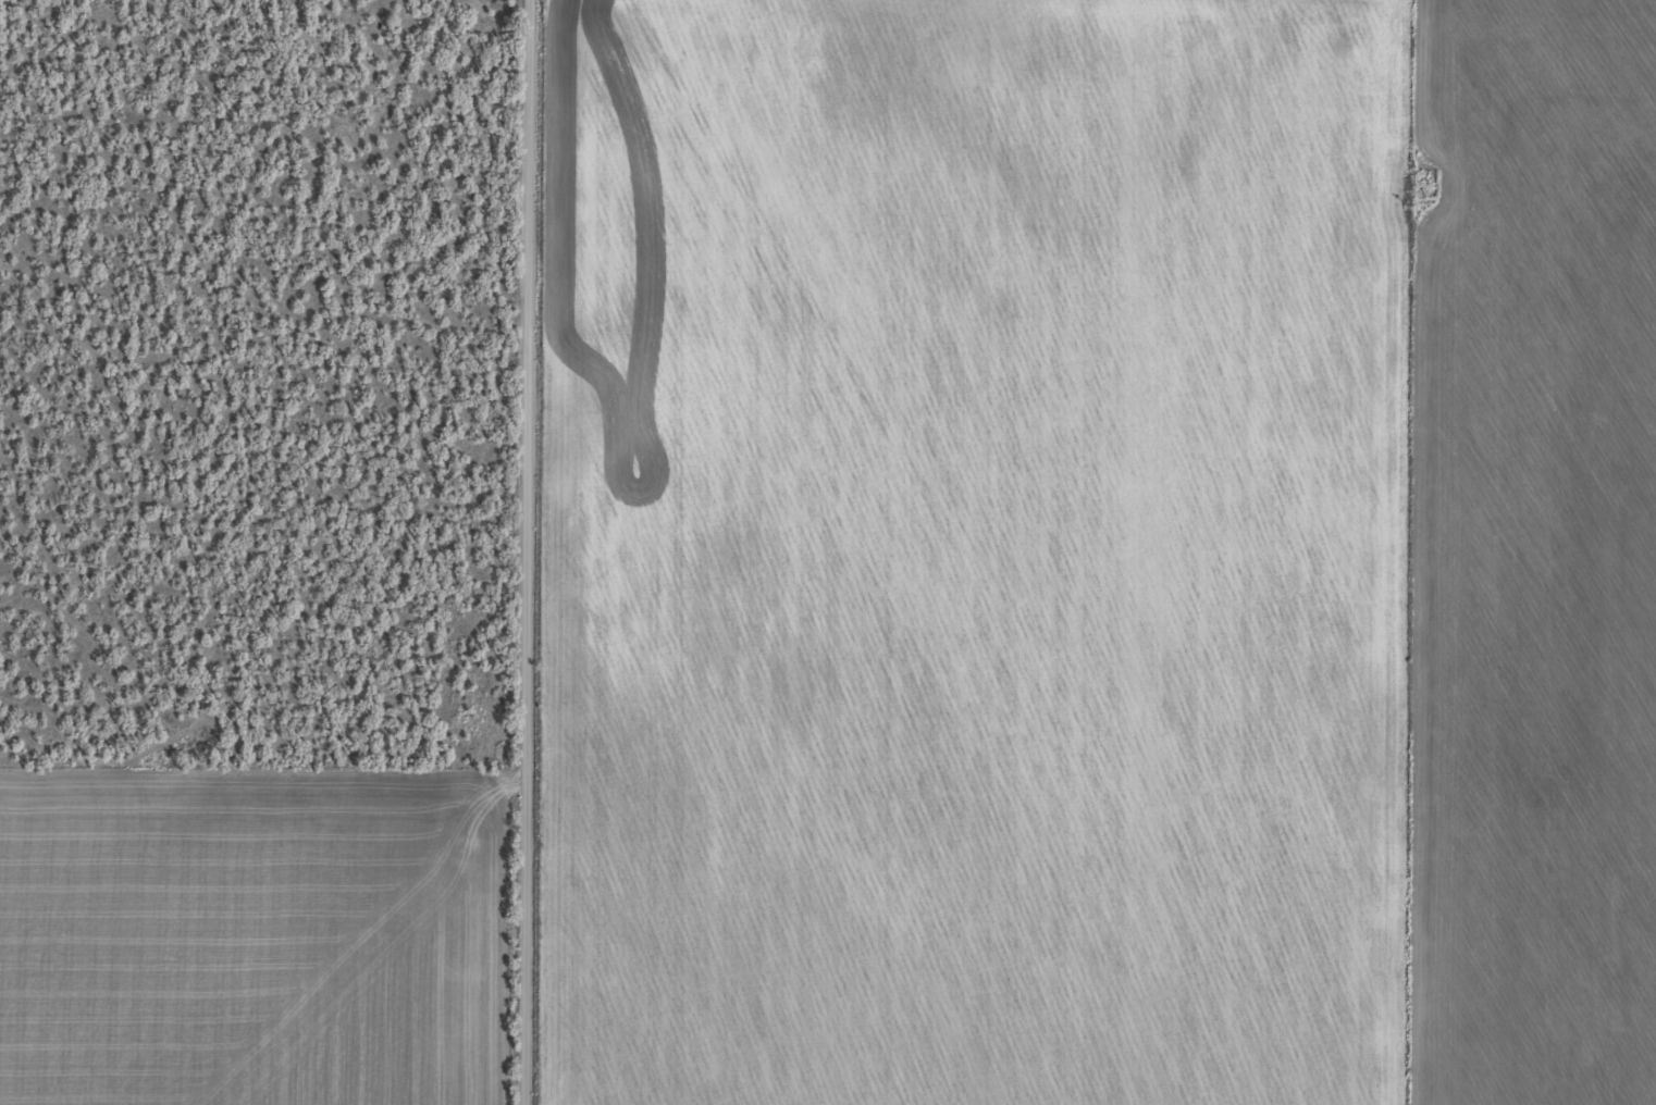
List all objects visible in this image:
road: (509, 552)

